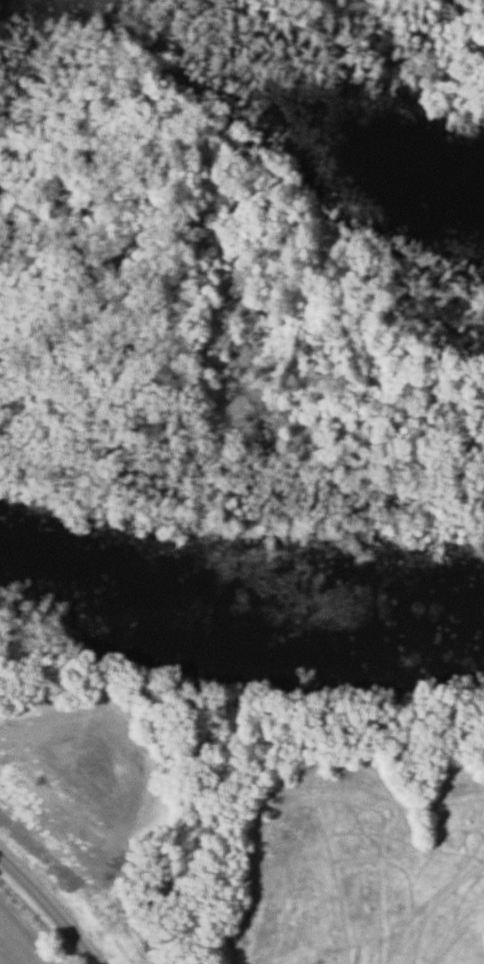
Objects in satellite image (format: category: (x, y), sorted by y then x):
road: (54, 906)

